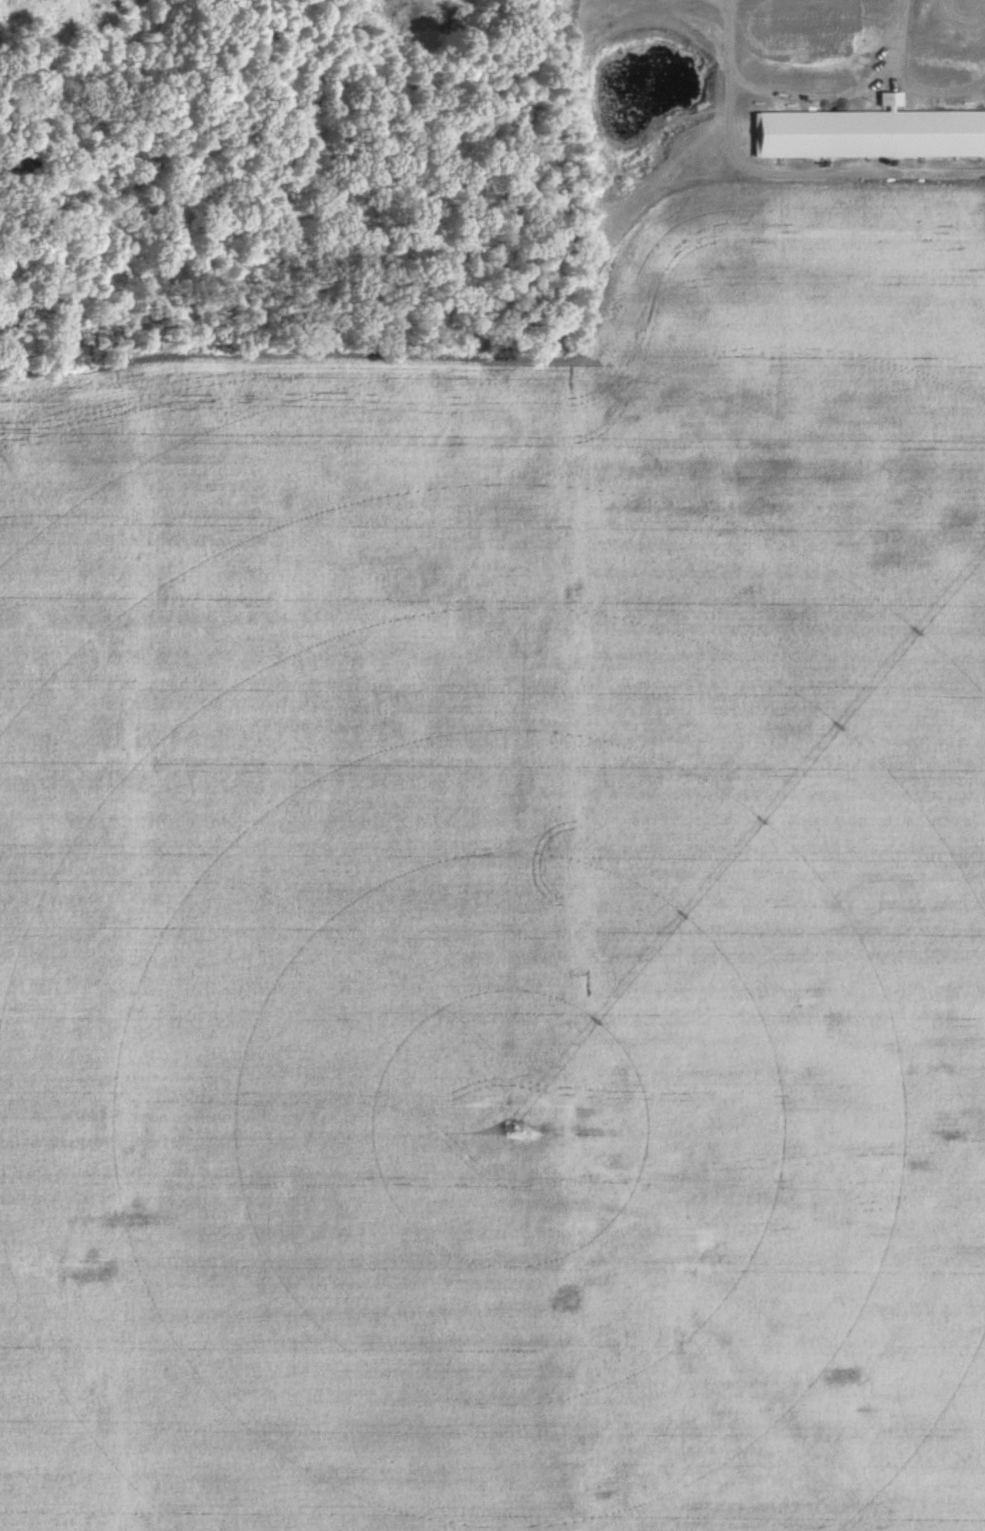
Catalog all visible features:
building: (871, 130)

